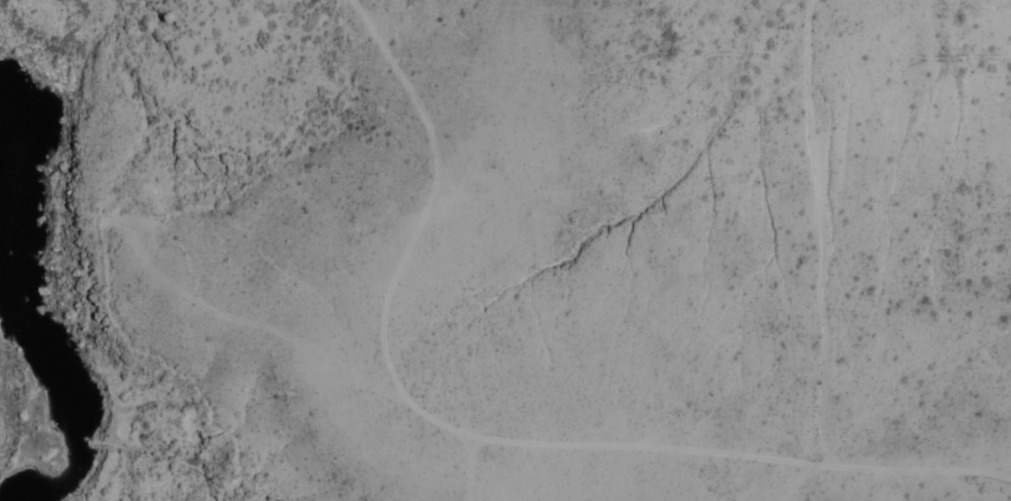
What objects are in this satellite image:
road: (824, 238)
river: (36, 306)
road: (486, 439)

